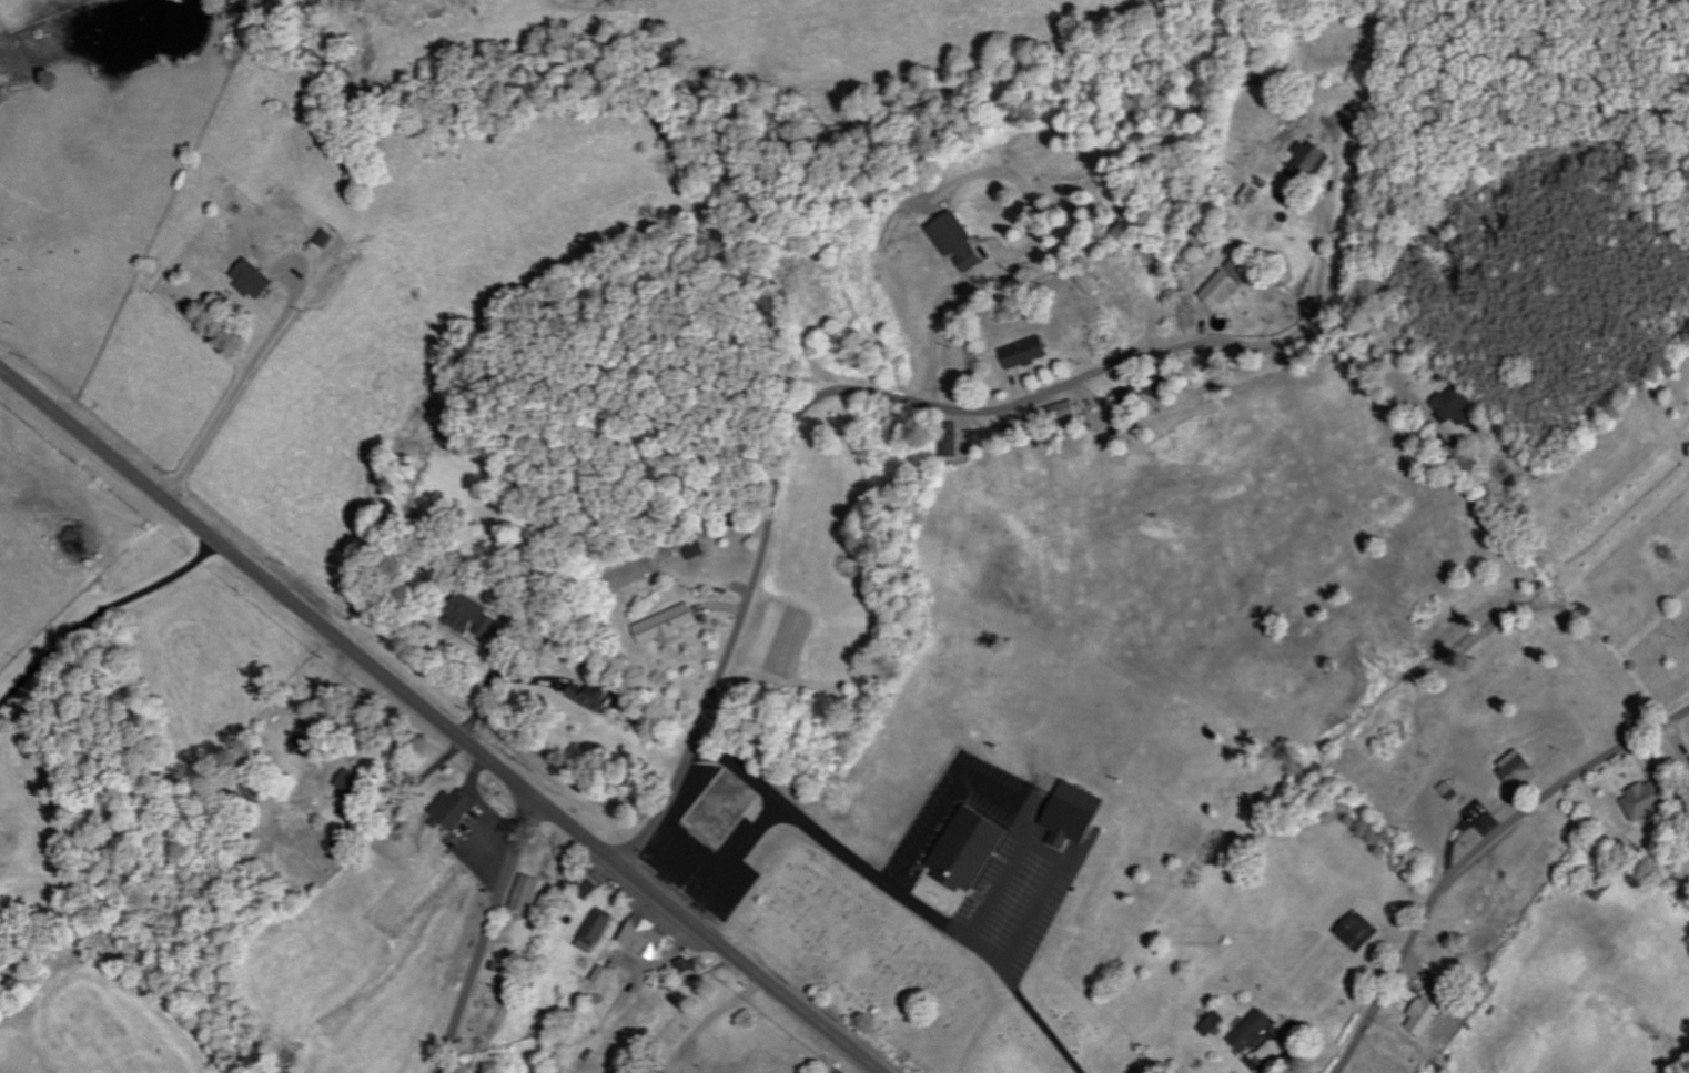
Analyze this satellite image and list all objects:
building: (1312, 160)
building: (1252, 196)
building: (330, 239)
building: (961, 242)
road: (1326, 273)
building: (256, 280)
building: (1230, 281)
road: (1294, 304)
road: (941, 315)
building: (1028, 353)
road: (827, 396)
road: (241, 406)
building: (1458, 406)
building: (1070, 411)
building: (951, 442)
building: (698, 550)
road: (101, 615)
building: (478, 618)
building: (668, 625)
building: (597, 697)
road: (439, 721)
building: (307, 739)
building: (1521, 771)
building: (355, 786)
road: (958, 788)
building: (1651, 799)
road: (482, 800)
building: (455, 808)
building: (1078, 814)
road: (1054, 848)
building: (973, 849)
road: (1474, 853)
road: (682, 856)
parking lot: (1043, 860)
road: (738, 861)
road: (904, 890)
building: (529, 894)
building: (598, 928)
building: (1362, 932)
road: (484, 933)
building: (648, 938)
building: (605, 976)
building: (1430, 1014)
road: (714, 1020)
building: (1215, 1024)
building: (1256, 1032)

